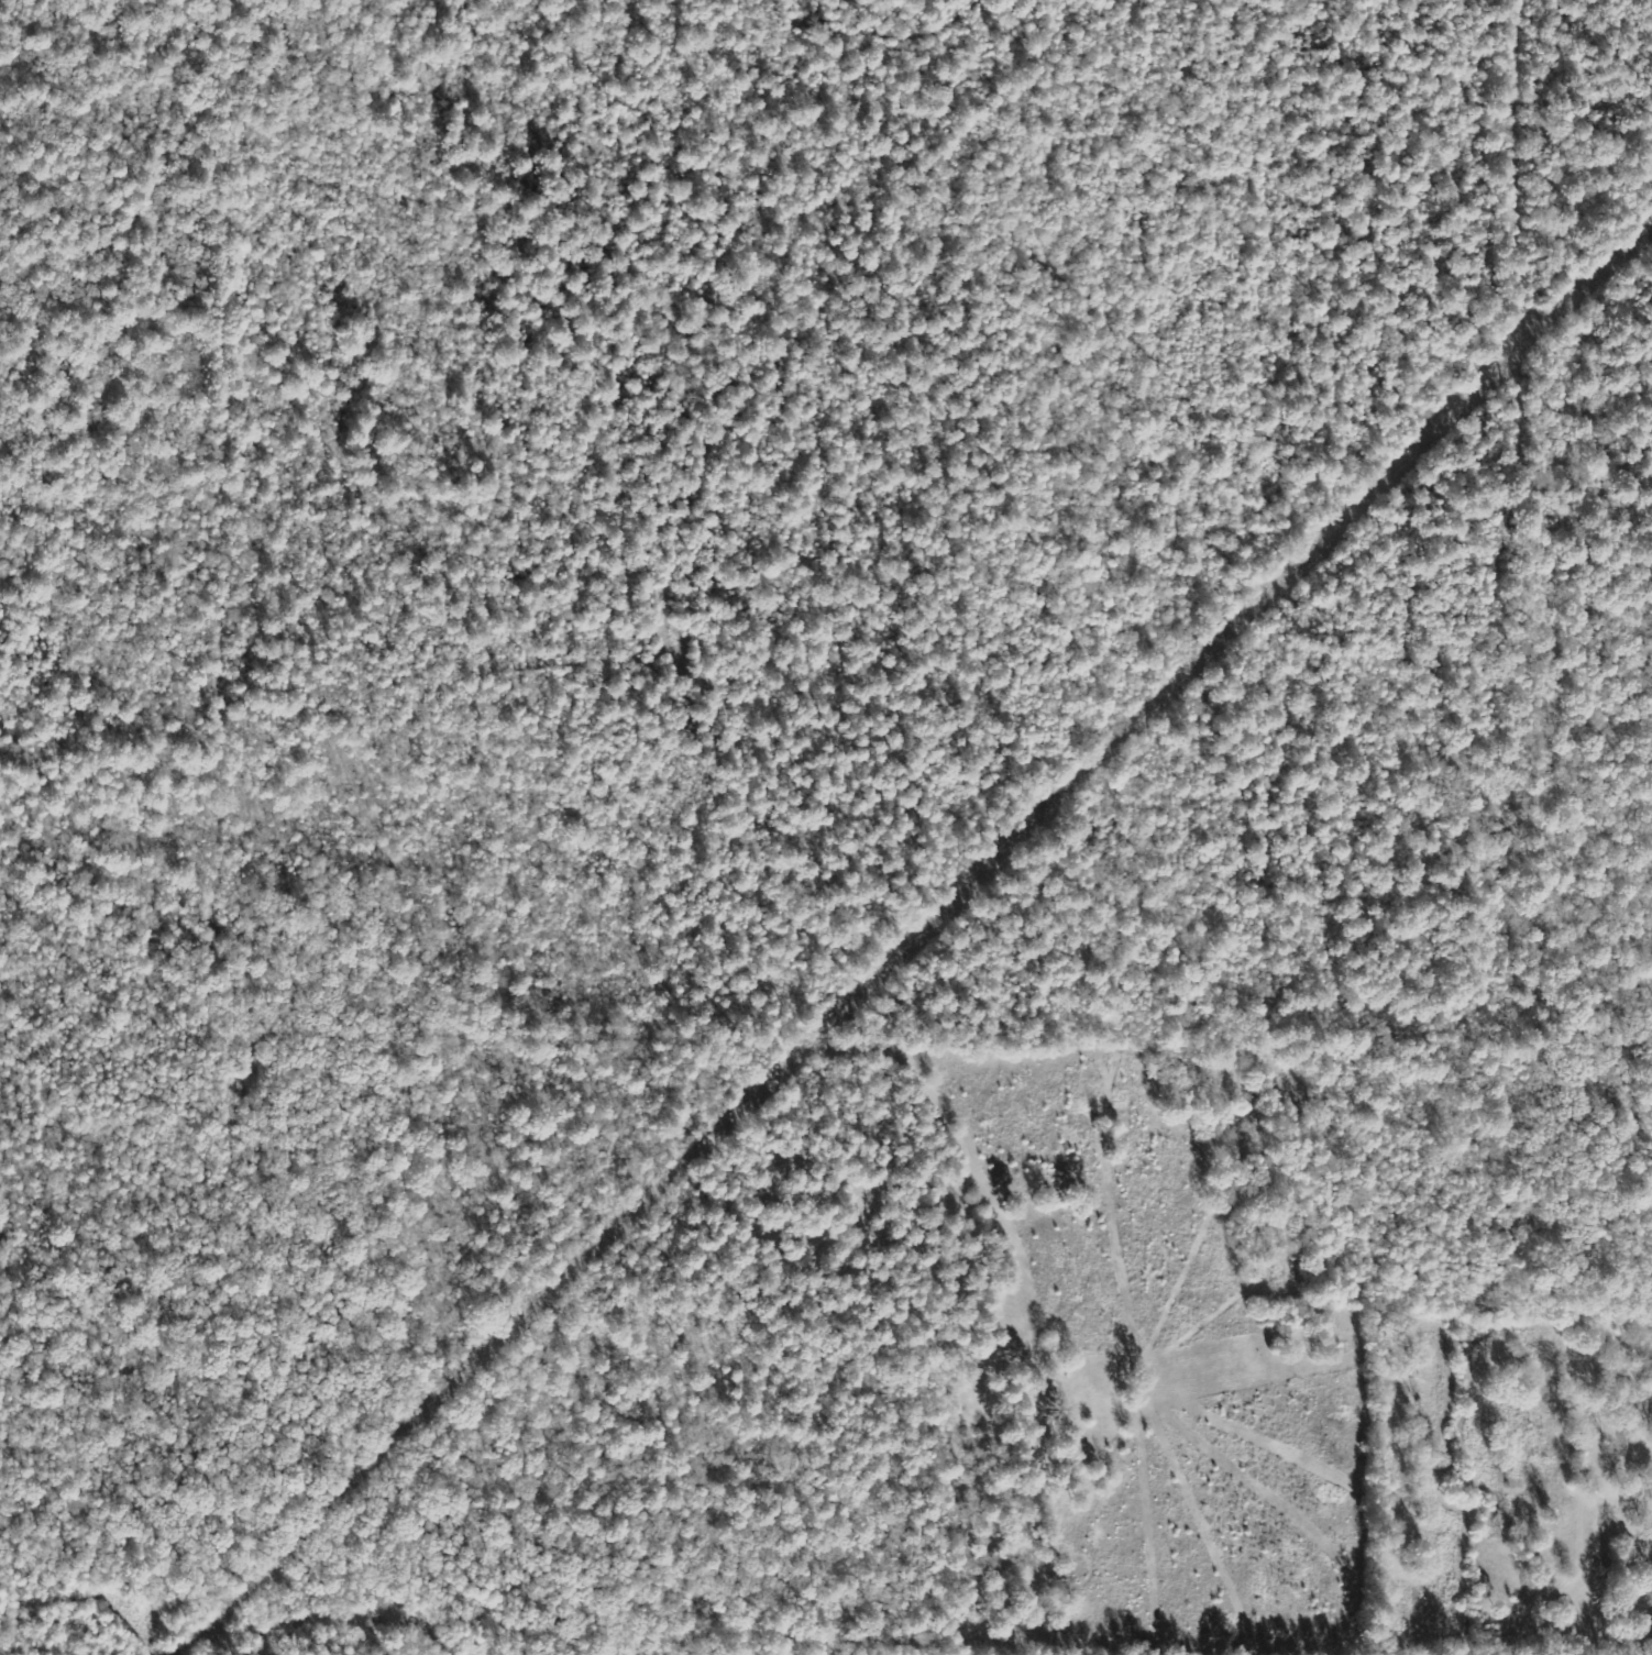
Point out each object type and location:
road: (1630, 1302)

